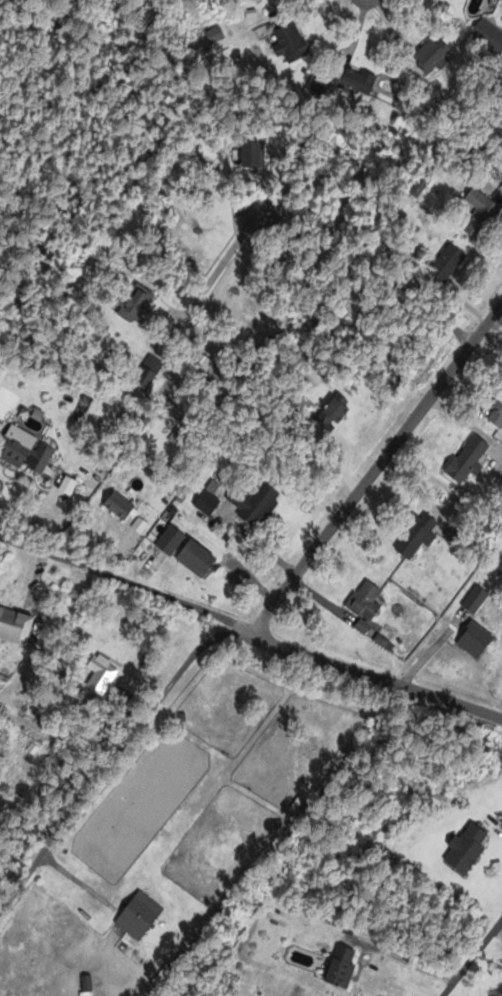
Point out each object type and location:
road: (362, 4)
building: (486, 34)
building: (291, 42)
building: (432, 55)
building: (481, 215)
road: (311, 219)
building: (446, 262)
building: (136, 306)
building: (180, 440)
building: (25, 452)
building: (467, 458)
road: (378, 466)
building: (256, 504)
building: (119, 506)
building: (417, 536)
building: (170, 540)
building: (196, 559)
building: (472, 604)
building: (365, 605)
building: (15, 625)
road: (252, 629)
building: (475, 641)
road: (112, 757)
building: (467, 847)
road: (76, 879)
building: (132, 923)
road: (472, 957)
building: (341, 965)

